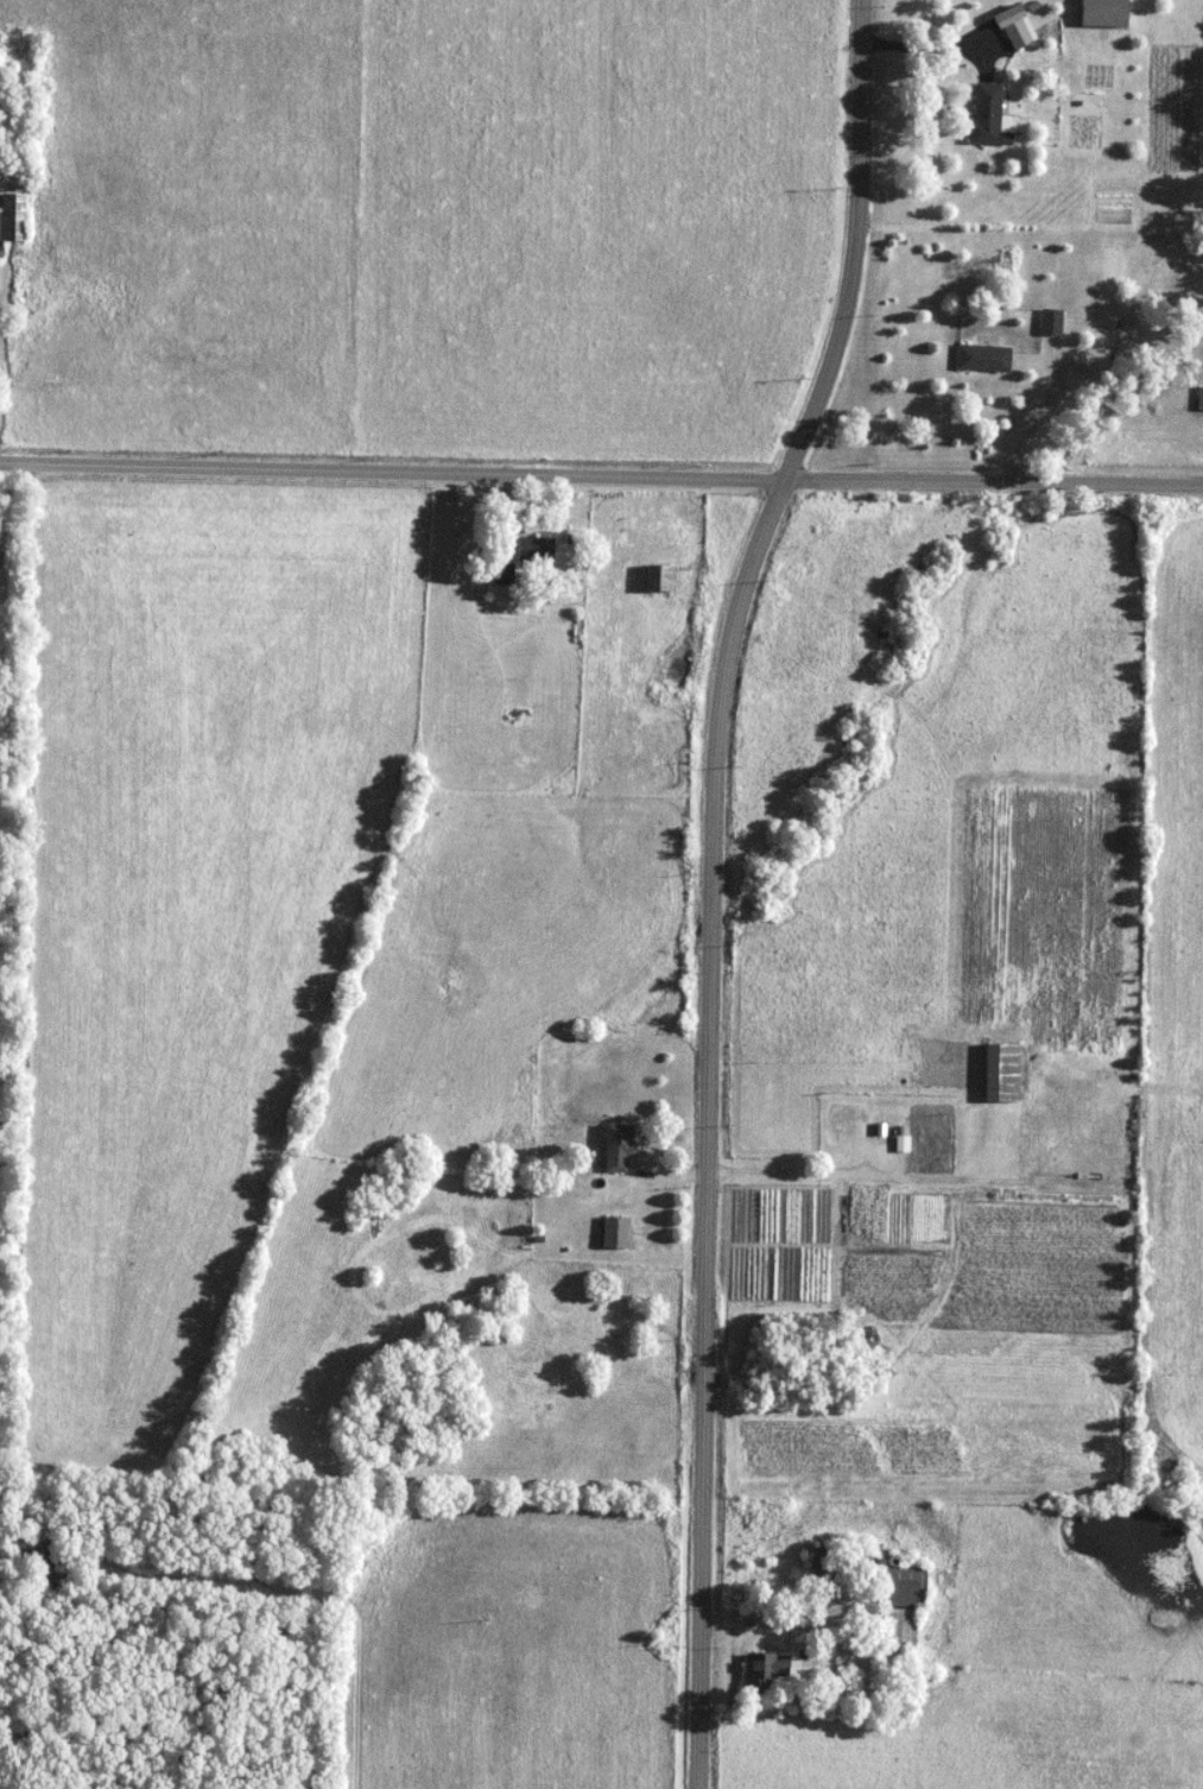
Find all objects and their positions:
building: (1115, 12)
building: (1028, 23)
road: (939, 48)
road: (986, 48)
building: (1001, 112)
building: (13, 217)
crop: (428, 228)
building: (1053, 323)
building: (994, 356)
building: (1201, 398)
road: (601, 470)
building: (538, 550)
crop: (4, 574)
building: (506, 574)
building: (672, 575)
road: (721, 883)
crop: (1170, 1000)
building: (1014, 1069)
building: (627, 1146)
road: (682, 1169)
road: (927, 1175)
building: (626, 1229)
crop: (0, 1547)
building: (822, 1569)
building: (56, 1570)
building: (911, 1583)
road: (778, 1612)
building: (908, 1625)
building: (778, 1669)

